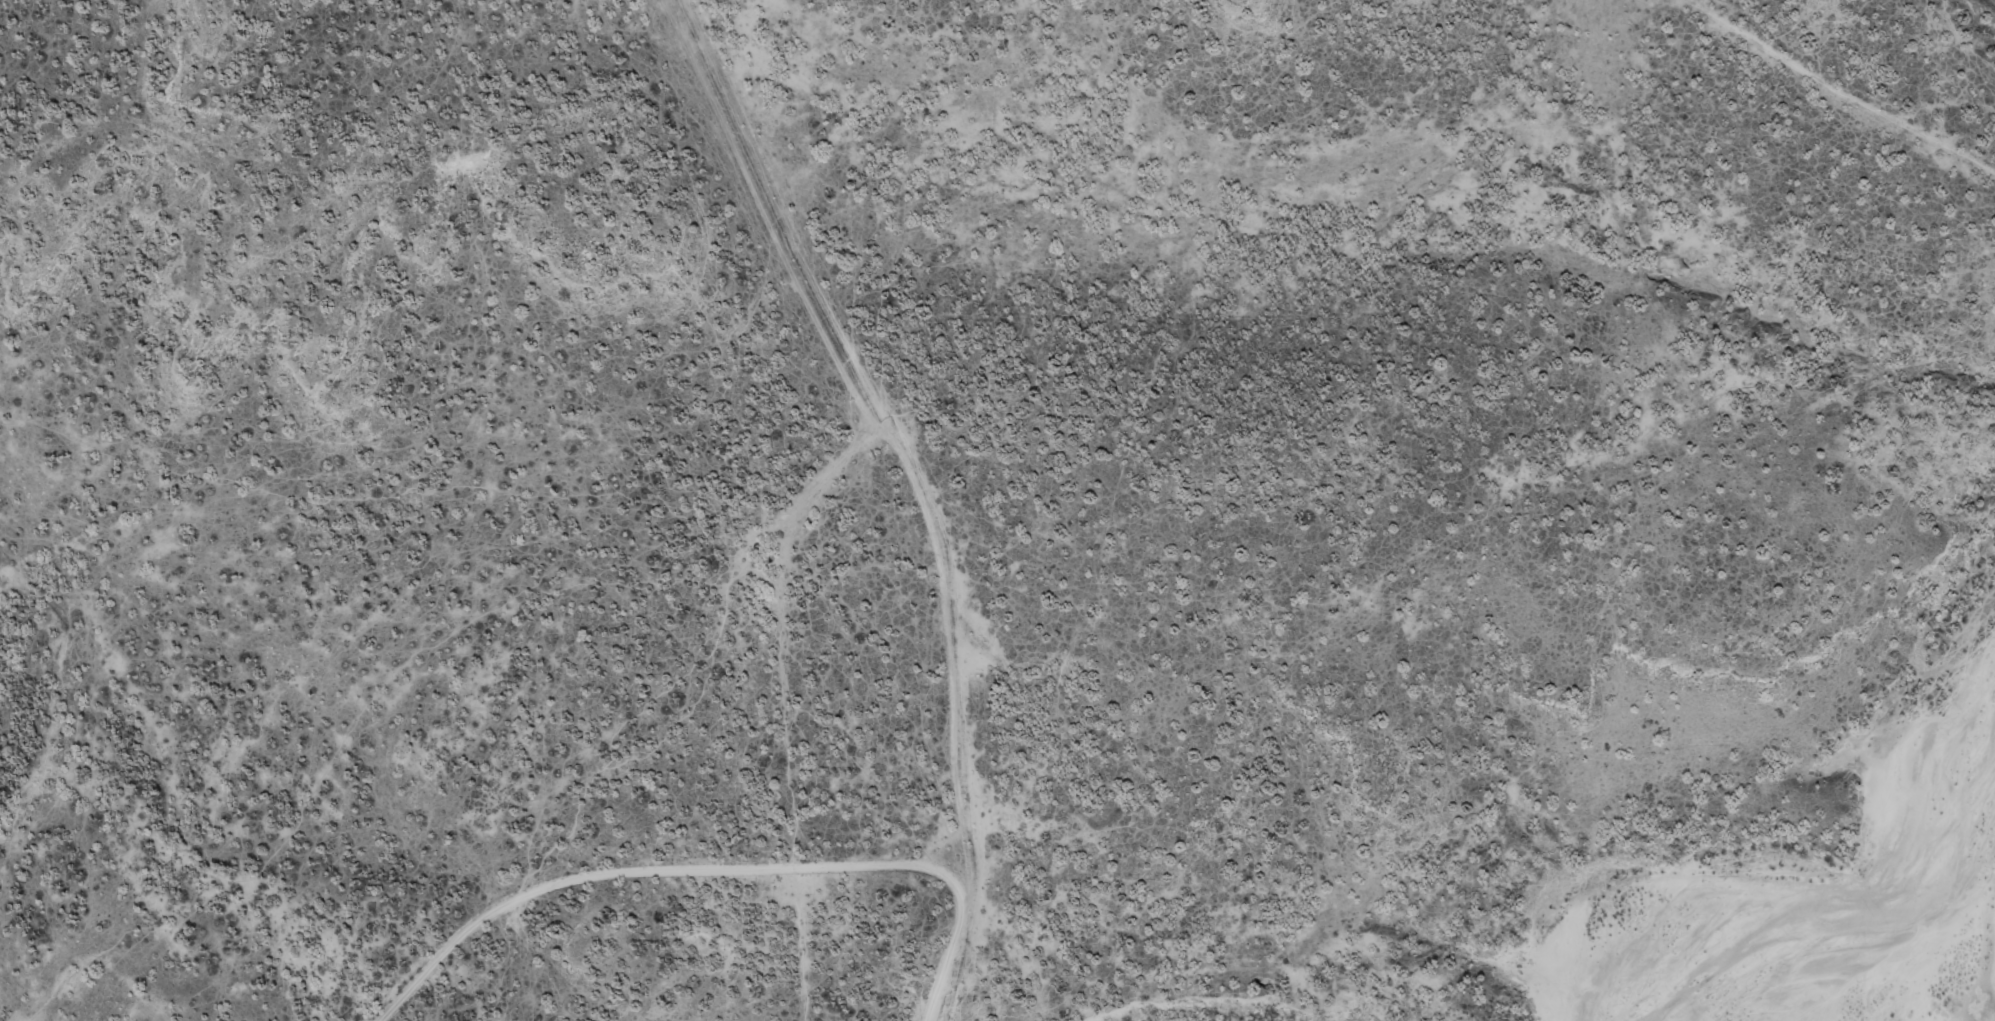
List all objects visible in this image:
road: (1848, 98)
road: (53, 493)
road: (905, 495)

